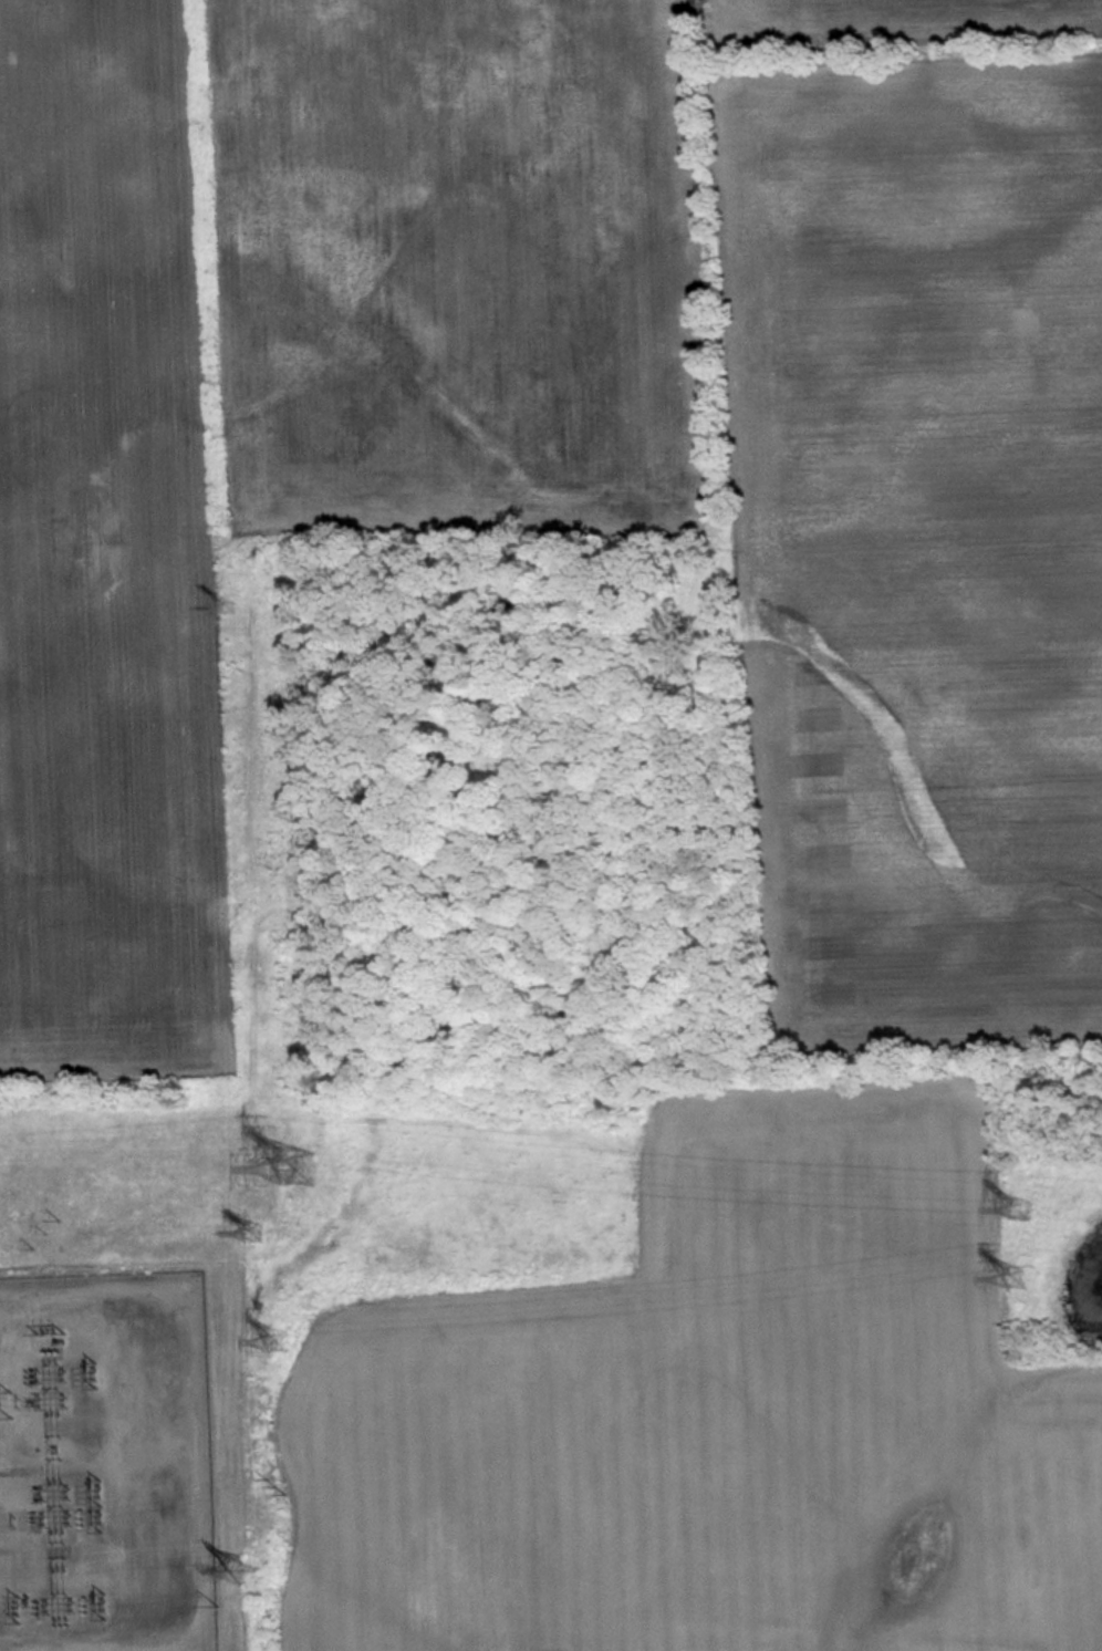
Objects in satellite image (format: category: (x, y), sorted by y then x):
power tower: (227, 609)
power tower: (299, 1166)
power tower: (1020, 1208)
power tower: (247, 1236)
power tower: (1017, 1278)
power tower: (281, 1339)
road: (190, 1453)
power substation: (106, 1463)
power tower: (273, 1486)
power tower: (242, 1569)

